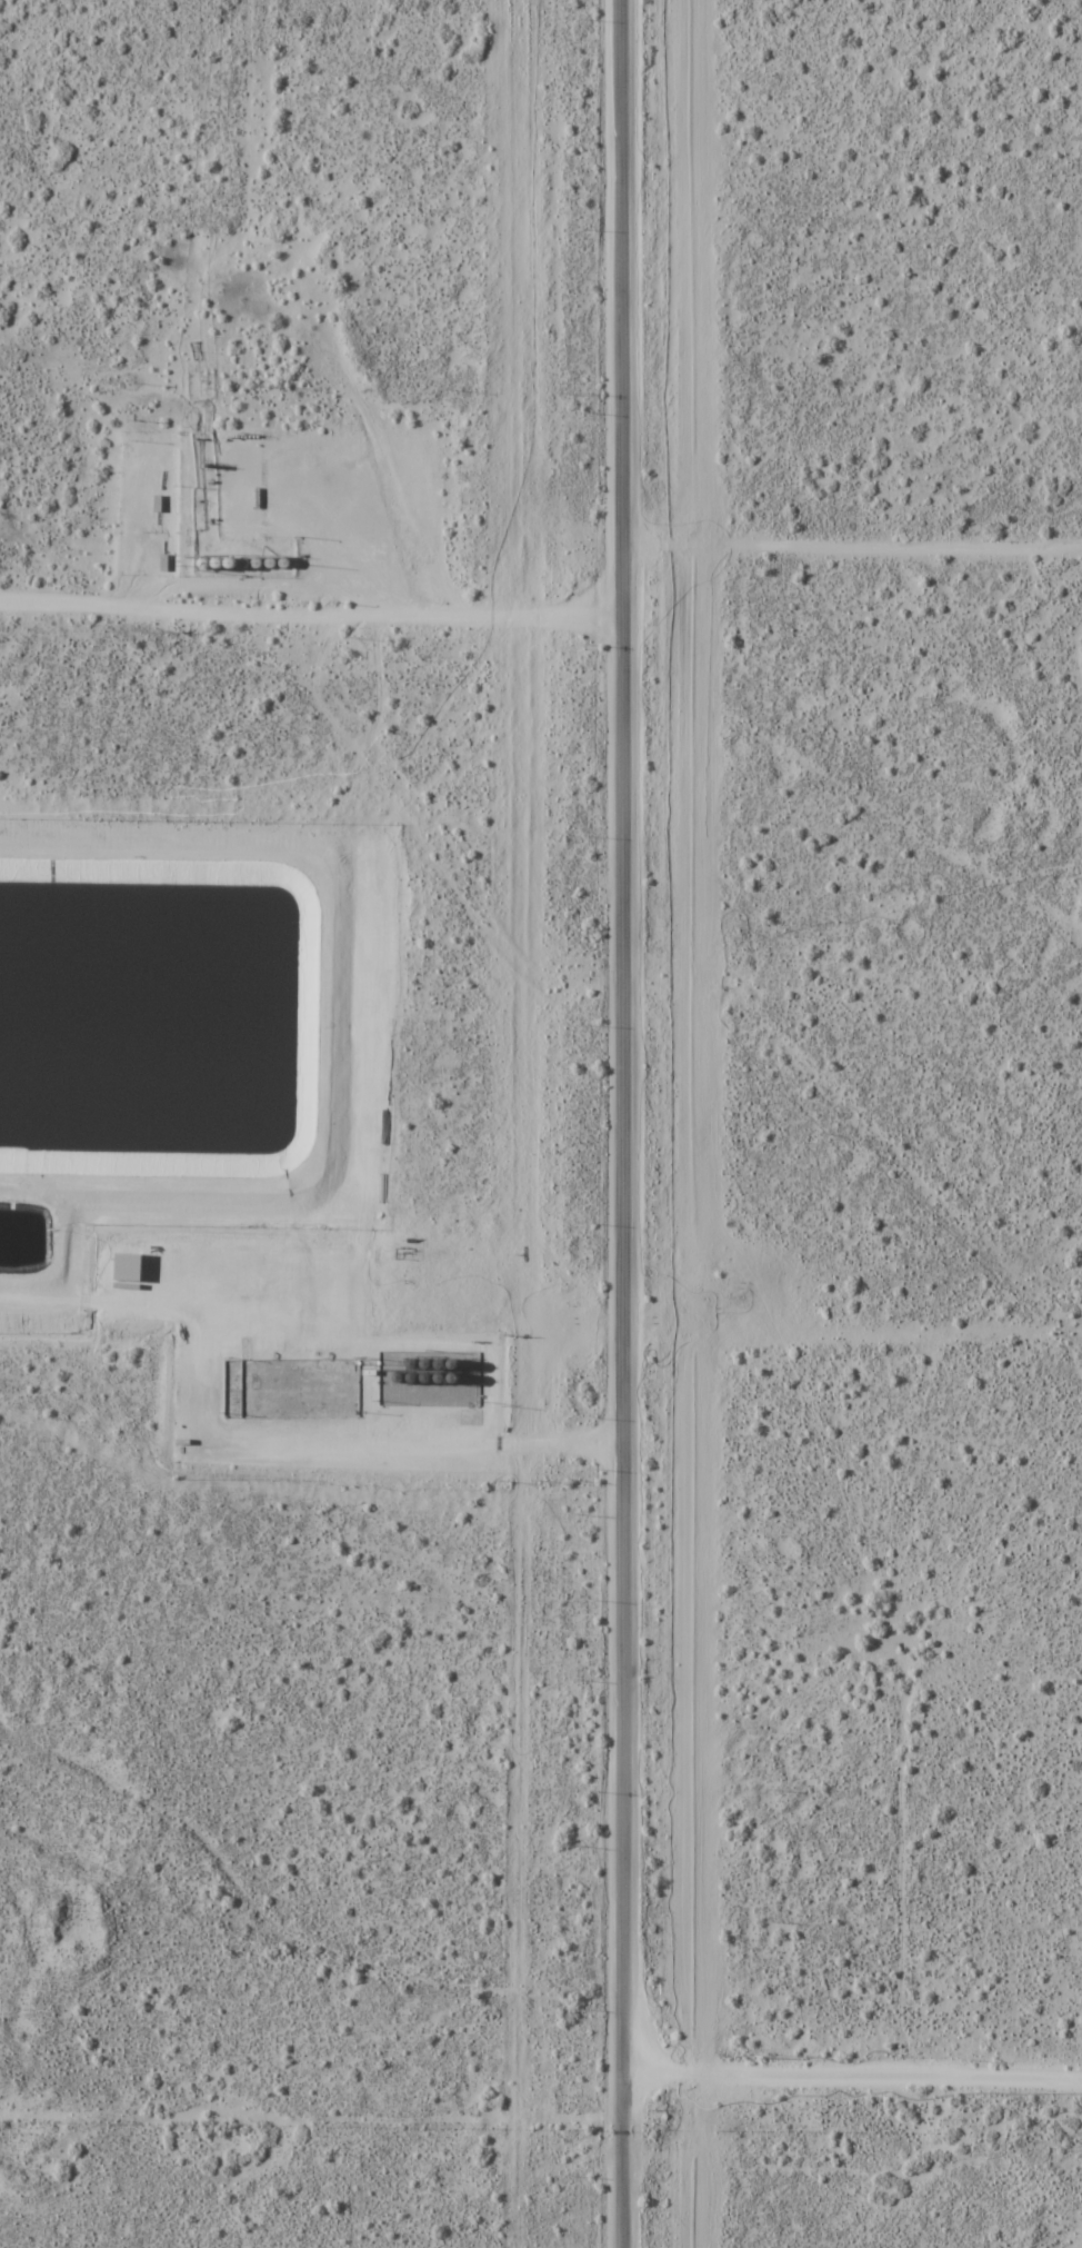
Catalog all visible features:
road: (854, 541)
road: (314, 609)
road: (629, 1123)
building: (410, 1365)
storage tank: (410, 1365)
building: (438, 1365)
storage tank: (438, 1365)
building: (451, 1365)
storage tank: (451, 1365)
building: (423, 1366)
storage tank: (423, 1366)
building: (397, 1380)
storage tank: (397, 1380)
building: (410, 1380)
storage tank: (410, 1380)
building: (438, 1380)
storage tank: (438, 1380)
building: (452, 1380)
storage tank: (452, 1380)
building: (423, 1381)
storage tank: (423, 1381)
road: (324, 1441)
road: (853, 2076)

